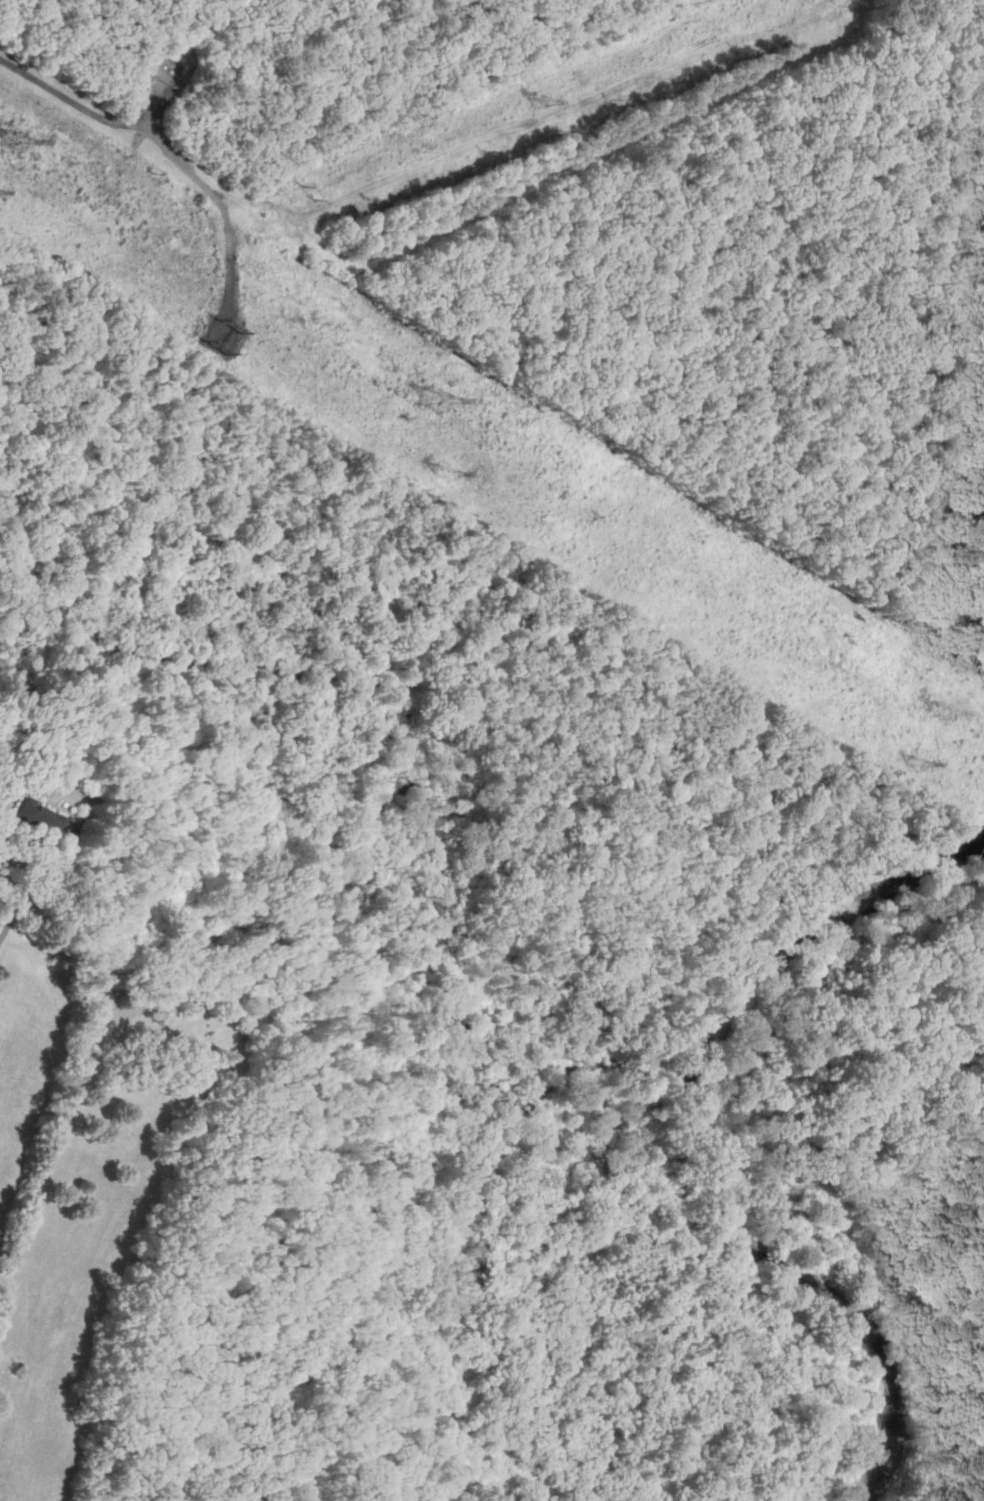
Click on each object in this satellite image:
power tower: (539, 105)
road: (558, 115)
road: (168, 144)
power tower: (17, 145)
road: (545, 181)
power tower: (298, 197)
power tower: (220, 337)
power tower: (436, 394)
power tower: (444, 472)
power tower: (942, 716)
power tower: (923, 764)
building: (38, 822)
road: (18, 901)
river: (696, 1138)

